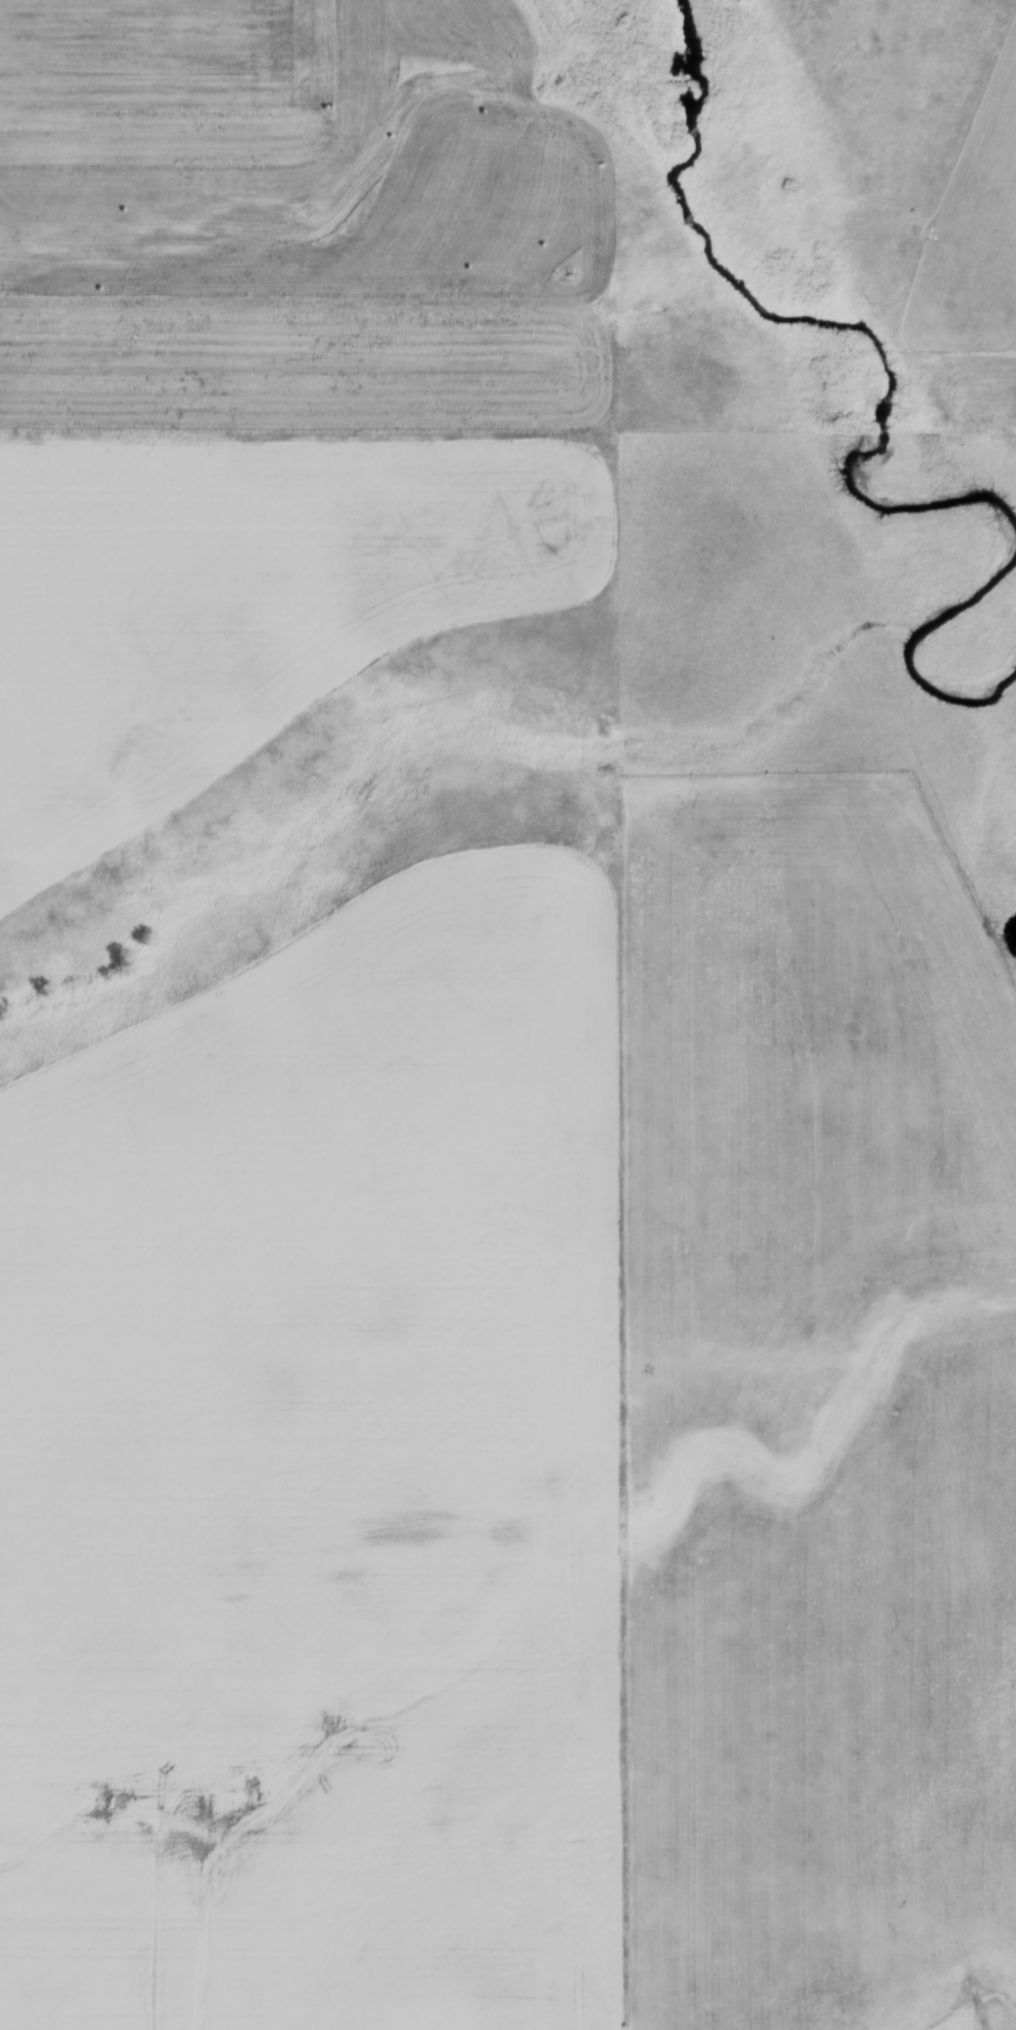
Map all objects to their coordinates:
airport: (810, 207)
airport runway: (984, 254)

